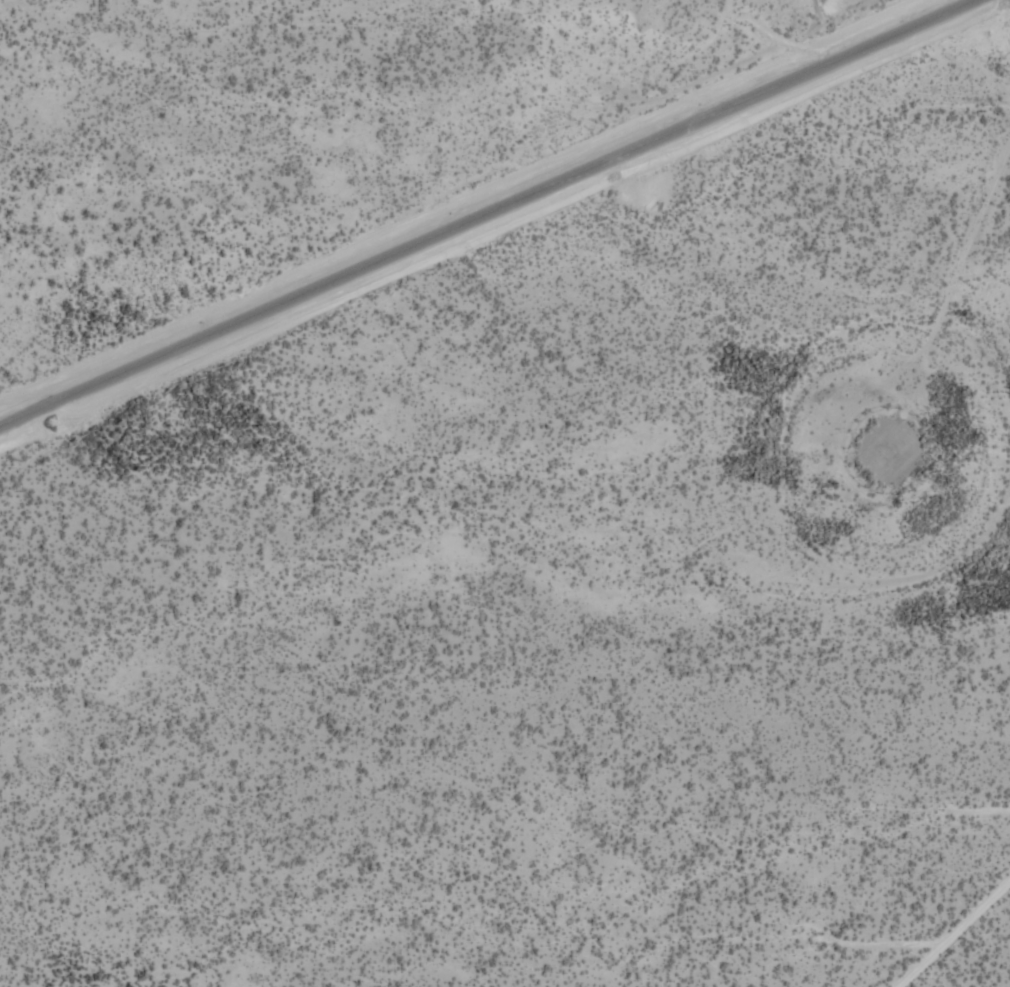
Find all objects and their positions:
building: (418, 732)
building: (635, 746)
building: (636, 760)

